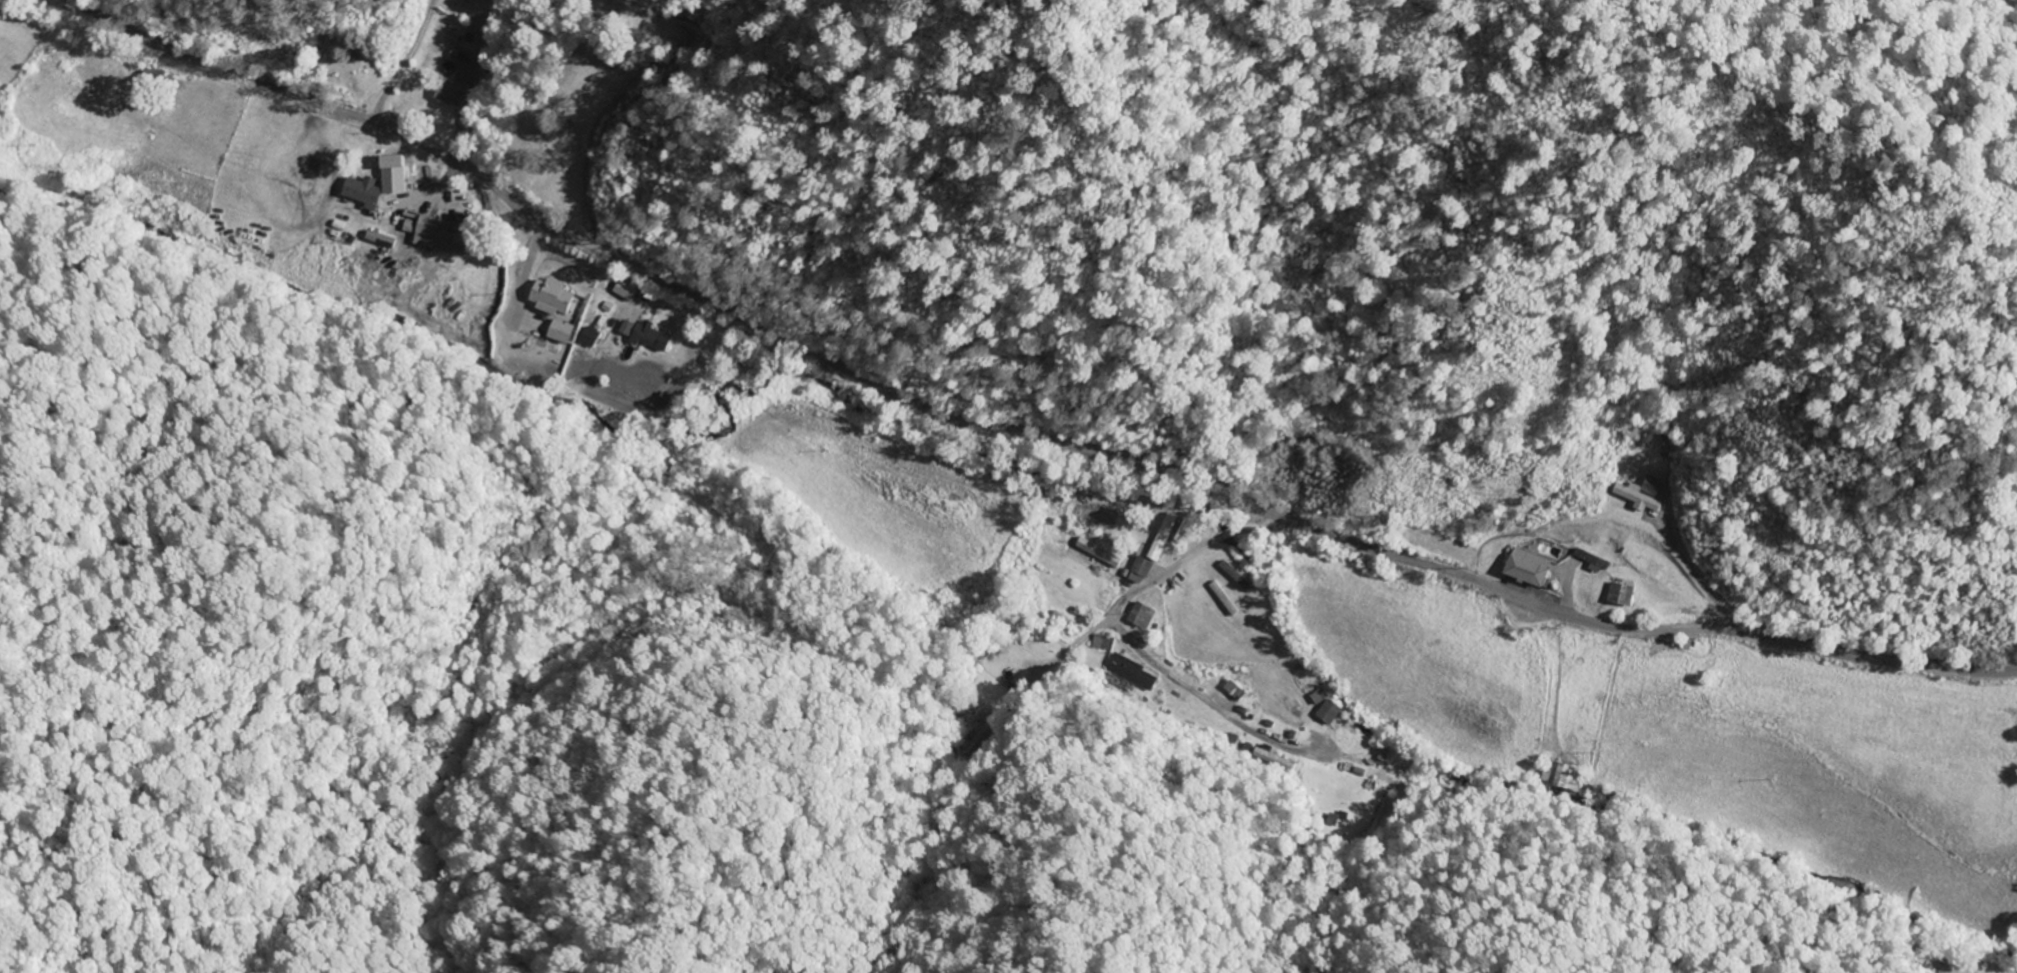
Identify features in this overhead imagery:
building: (487, 0)
building: (456, 37)
building: (157, 77)
building: (451, 93)
road: (577, 145)
building: (365, 191)
building: (438, 233)
building: (617, 291)
building: (546, 295)
building: (639, 335)
road: (995, 431)
building: (1660, 446)
building: (1634, 493)
building: (1520, 568)
building: (1137, 571)
building: (1615, 595)
building: (1138, 616)
road: (1160, 617)
building: (1097, 642)
road: (1140, 648)

